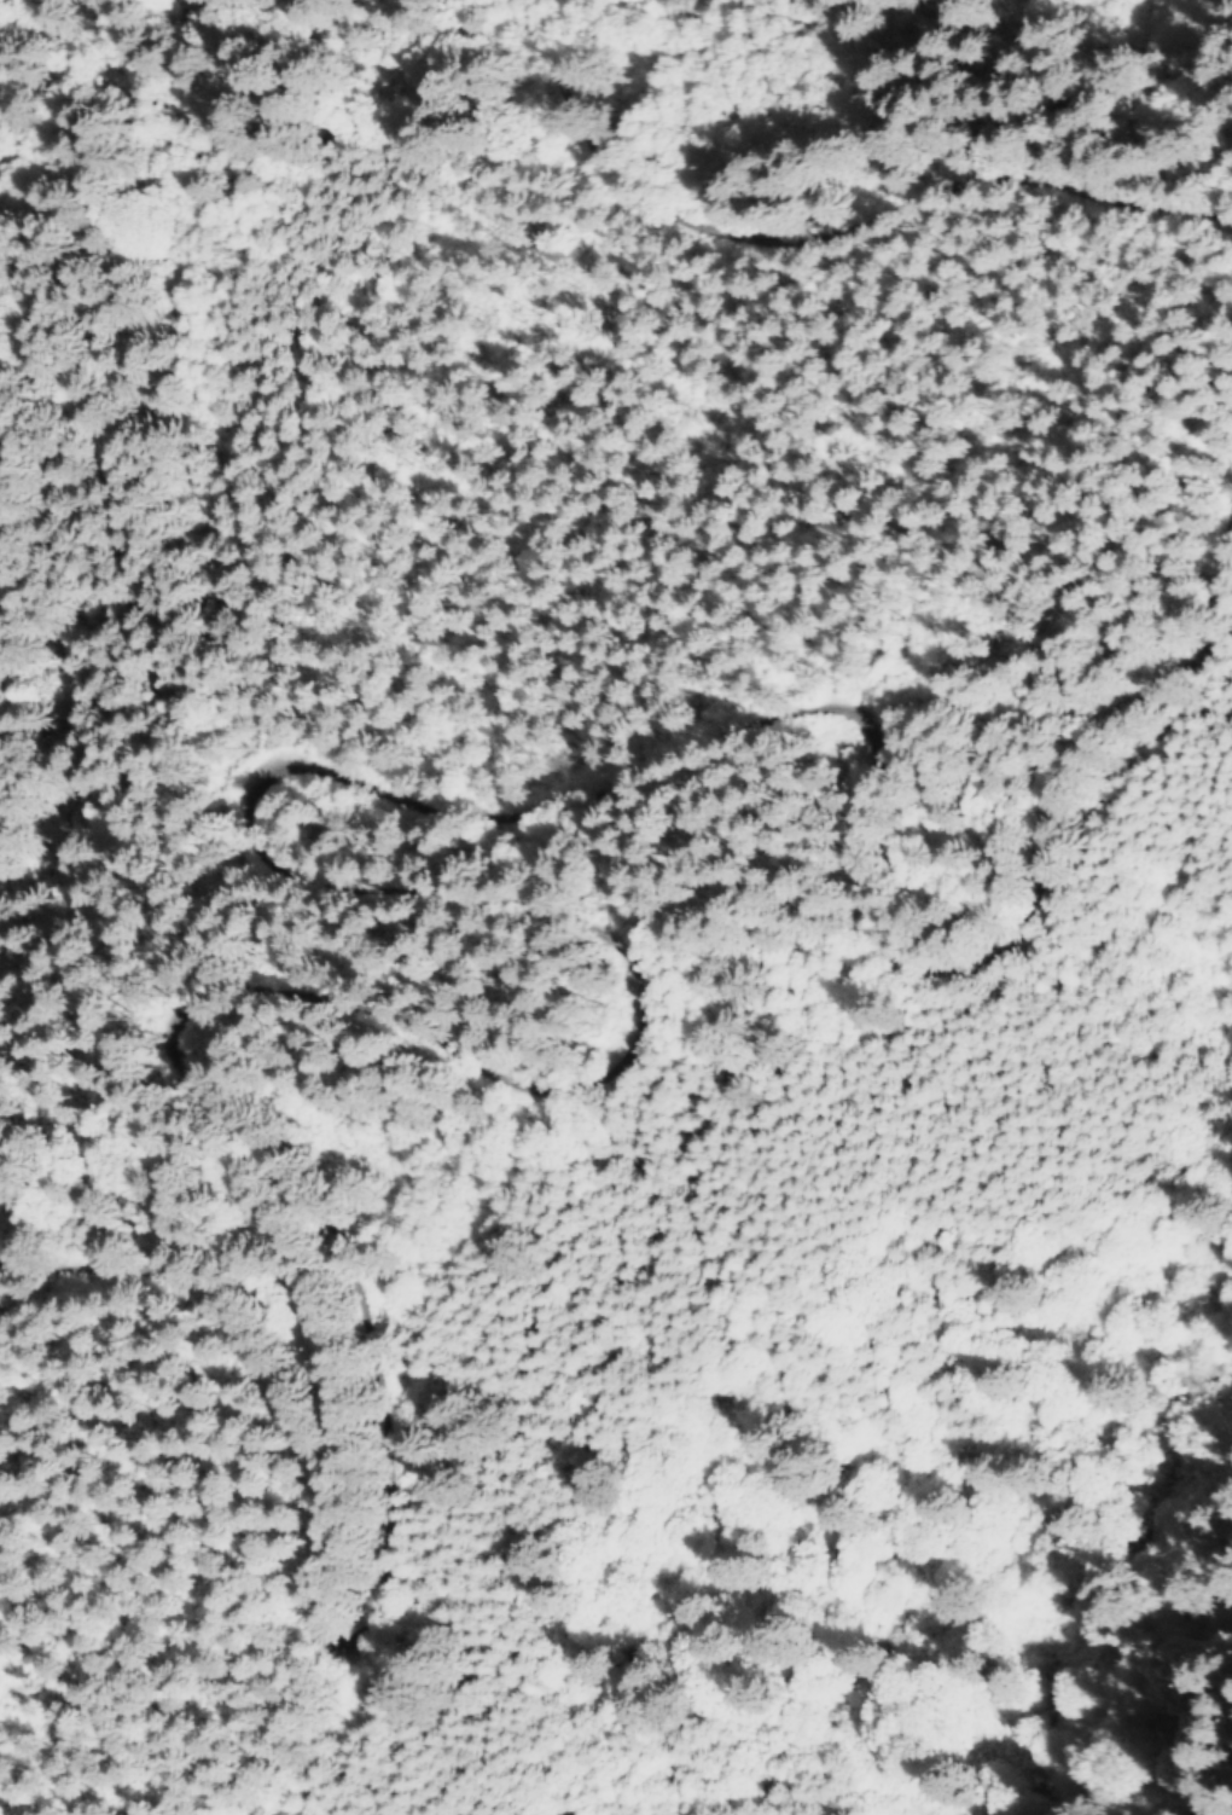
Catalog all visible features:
road: (841, 199)
road: (455, 845)

